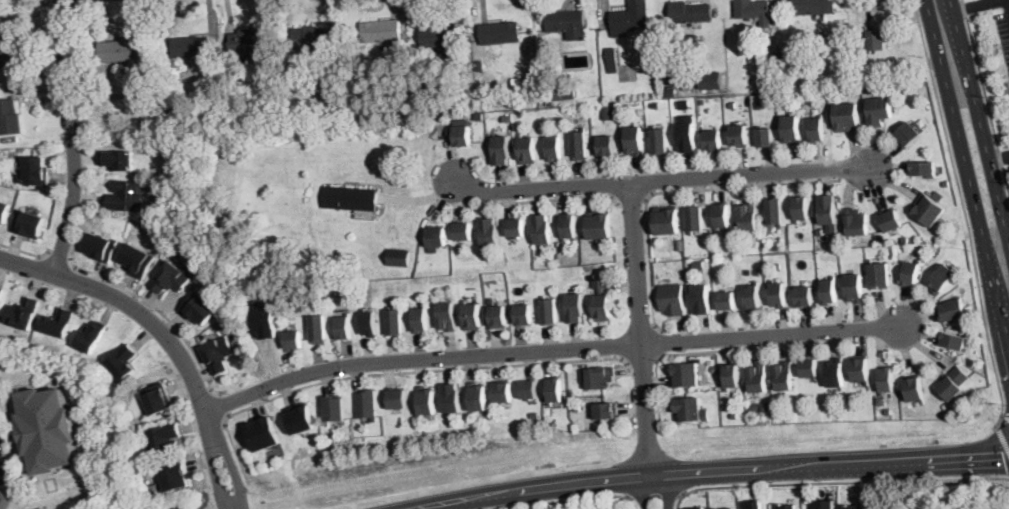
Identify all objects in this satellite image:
road: (1008, 1)
road: (977, 5)
building: (813, 6)
building: (754, 11)
building: (689, 12)
building: (630, 18)
building: (567, 22)
building: (381, 30)
building: (665, 31)
building: (500, 32)
building: (466, 34)
parking lot: (1003, 34)
building: (314, 37)
building: (441, 38)
building: (681, 39)
building: (876, 40)
building: (249, 42)
building: (7, 47)
building: (192, 47)
building: (121, 51)
building: (844, 53)
building: (332, 55)
building: (611, 59)
building: (778, 59)
building: (668, 61)
building: (479, 65)
building: (864, 77)
building: (671, 79)
building: (710, 79)
building: (528, 80)
building: (515, 81)
building: (243, 88)
building: (502, 90)
building: (670, 91)
building: (559, 94)
road: (985, 94)
building: (151, 95)
building: (214, 95)
building: (615, 97)
building: (701, 102)
building: (757, 103)
building: (655, 104)
building: (684, 104)
building: (731, 104)
building: (440, 105)
building: (878, 111)
building: (406, 112)
building: (481, 114)
building: (606, 114)
building: (9, 117)
building: (507, 117)
building: (846, 117)
building: (315, 119)
road: (979, 120)
building: (548, 121)
building: (816, 129)
building: (791, 130)
building: (459, 135)
building: (908, 135)
building: (738, 136)
building: (686, 137)
building: (764, 137)
road: (72, 139)
building: (712, 140)
building: (634, 141)
building: (660, 141)
building: (579, 146)
building: (606, 147)
building: (554, 148)
building: (526, 150)
building: (500, 151)
road: (998, 156)
building: (117, 160)
building: (924, 170)
road: (967, 170)
building: (35, 171)
building: (945, 178)
road: (659, 179)
road: (673, 191)
building: (937, 194)
building: (126, 196)
building: (350, 198)
road: (631, 199)
road: (537, 201)
building: (565, 206)
building: (205, 208)
building: (800, 209)
building: (928, 209)
building: (827, 210)
building: (4, 211)
building: (774, 212)
road: (965, 213)
building: (721, 216)
building: (748, 216)
building: (695, 218)
building: (666, 220)
building: (891, 220)
building: (856, 222)
building: (28, 224)
building: (598, 225)
building: (515, 227)
building: (568, 227)
building: (542, 230)
building: (819, 230)
building: (463, 231)
building: (489, 233)
building: (436, 237)
building: (905, 240)
building: (100, 247)
building: (449, 247)
building: (681, 250)
road: (26, 251)
road: (59, 256)
building: (399, 257)
building: (137, 261)
building: (777, 265)
building: (698, 266)
building: (314, 271)
building: (747, 271)
building: (756, 272)
building: (911, 273)
building: (879, 276)
building: (171, 278)
building: (942, 279)
road: (110, 280)
building: (854, 288)
building: (0, 291)
building: (828, 291)
building: (779, 294)
building: (752, 296)
building: (343, 297)
building: (804, 297)
building: (672, 299)
building: (701, 299)
building: (726, 301)
building: (490, 302)
building: (600, 302)
building: (574, 308)
building: (198, 309)
building: (953, 310)
road: (138, 311)
building: (549, 311)
building: (22, 313)
building: (524, 315)
building: (447, 317)
building: (472, 317)
building: (498, 317)
building: (421, 320)
building: (394, 322)
building: (58, 323)
building: (264, 323)
building: (368, 324)
building: (344, 328)
road: (642, 328)
building: (318, 329)
building: (91, 337)
building: (292, 340)
road: (661, 341)
building: (952, 341)
road: (550, 350)
road: (726, 350)
building: (217, 355)
building: (971, 361)
building: (123, 362)
road: (641, 363)
building: (808, 368)
building: (860, 369)
building: (834, 373)
road: (392, 374)
building: (684, 376)
building: (731, 376)
building: (783, 377)
building: (600, 378)
building: (757, 378)
building: (886, 380)
building: (953, 383)
building: (914, 389)
building: (529, 390)
building: (555, 391)
building: (572, 391)
building: (503, 392)
building: (477, 397)
building: (452, 398)
building: (157, 399)
building: (398, 399)
building: (426, 400)
road: (225, 404)
building: (367, 405)
building: (578, 406)
building: (755, 406)
building: (765, 406)
building: (335, 409)
building: (687, 409)
building: (888, 410)
building: (606, 412)
building: (734, 414)
road: (1005, 416)
building: (299, 418)
building: (780, 419)
building: (574, 426)
building: (46, 429)
building: (263, 434)
building: (162, 440)
road: (1002, 440)
traffic signals: (1001, 457)
road: (233, 470)
road: (711, 472)
road: (215, 473)
building: (174, 476)
road: (837, 482)
road: (665, 490)
road: (645, 491)
building: (154, 494)
road: (657, 494)
building: (5, 499)
road: (570, 500)
building: (753, 502)
building: (825, 504)
building: (786, 506)
building: (854, 507)
building: (696, 508)
building: (724, 508)

